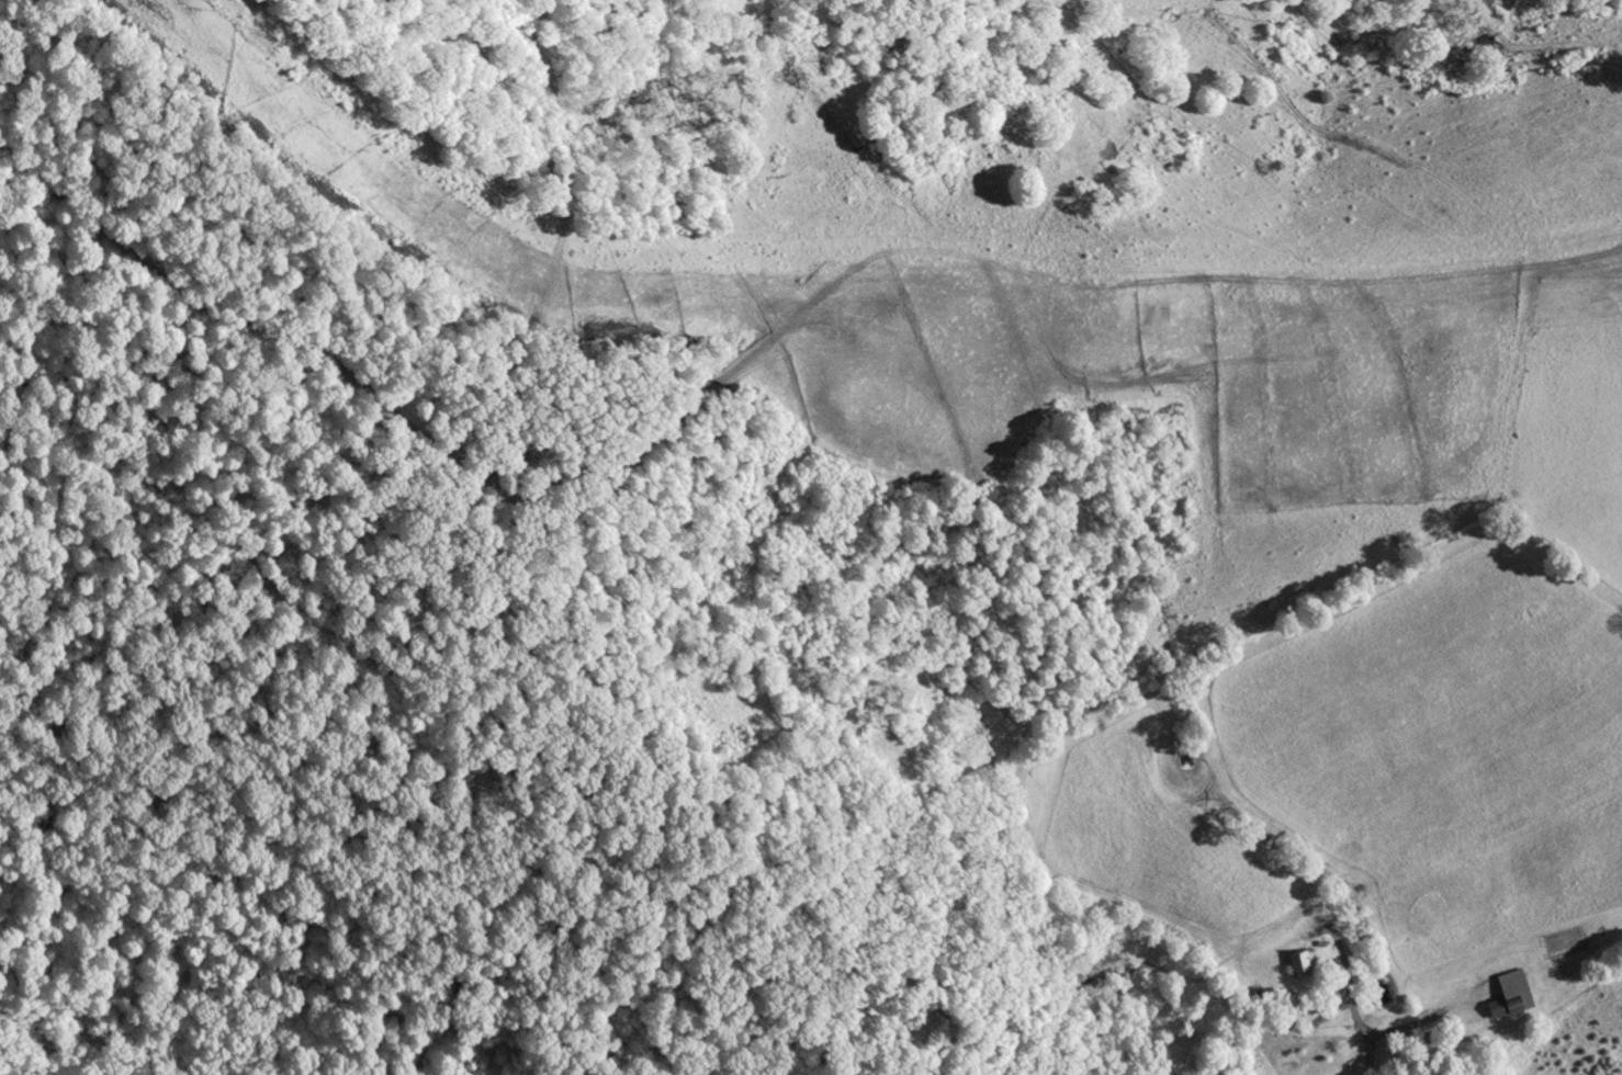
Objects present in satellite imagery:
building: (1300, 964)
building: (1509, 995)

